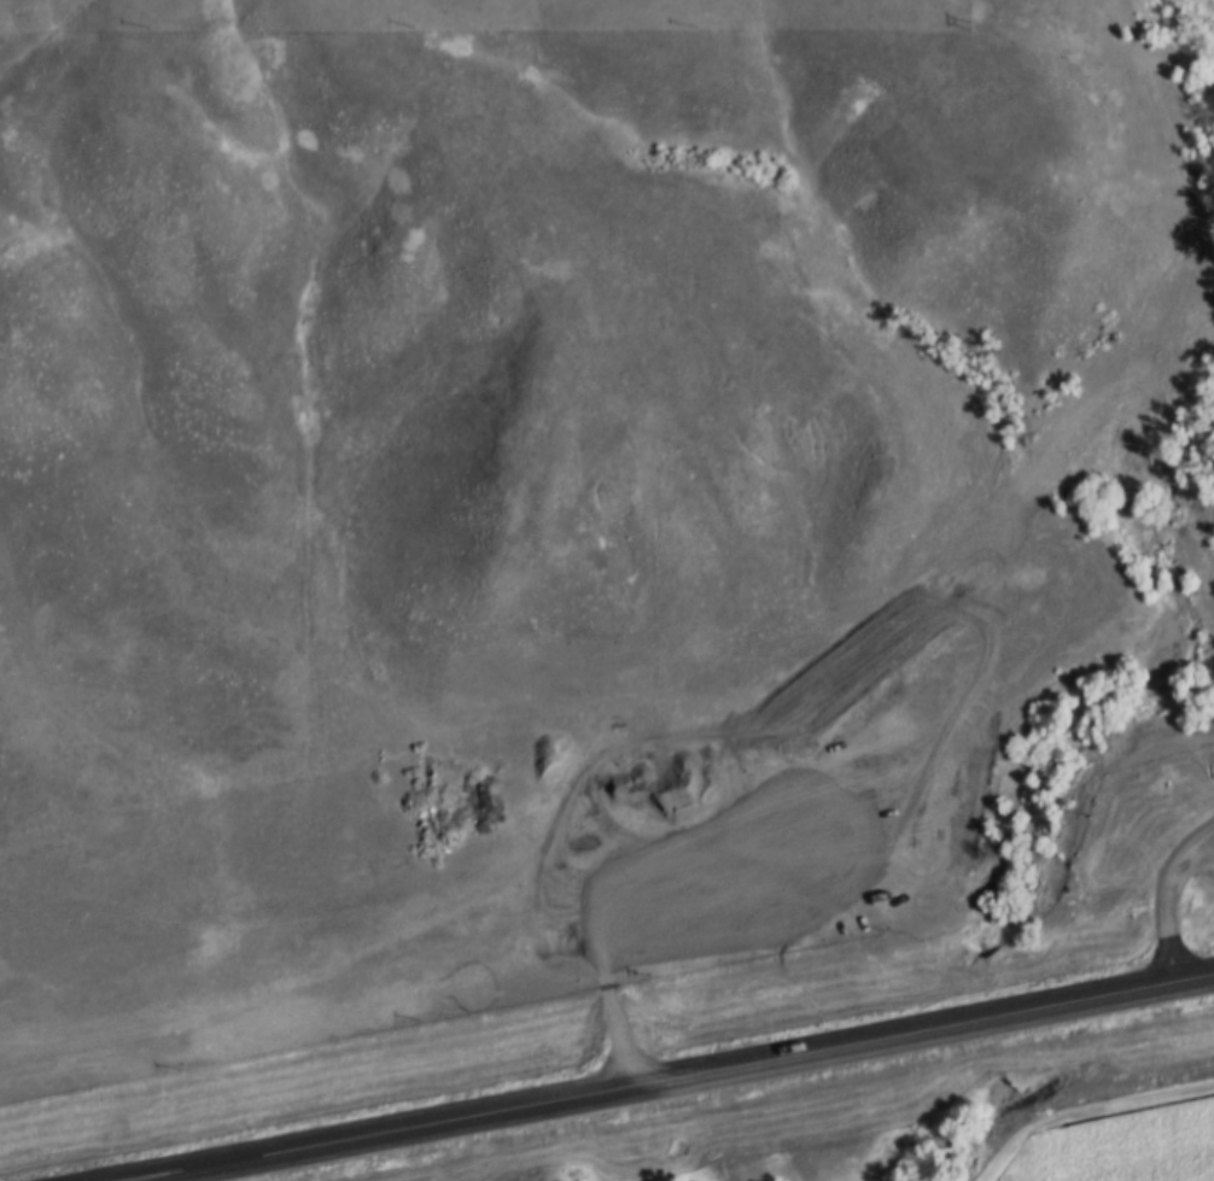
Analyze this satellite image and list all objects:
building: (778, 688)
building: (802, 720)
road: (1173, 902)
road: (685, 1076)
road: (1086, 1106)

